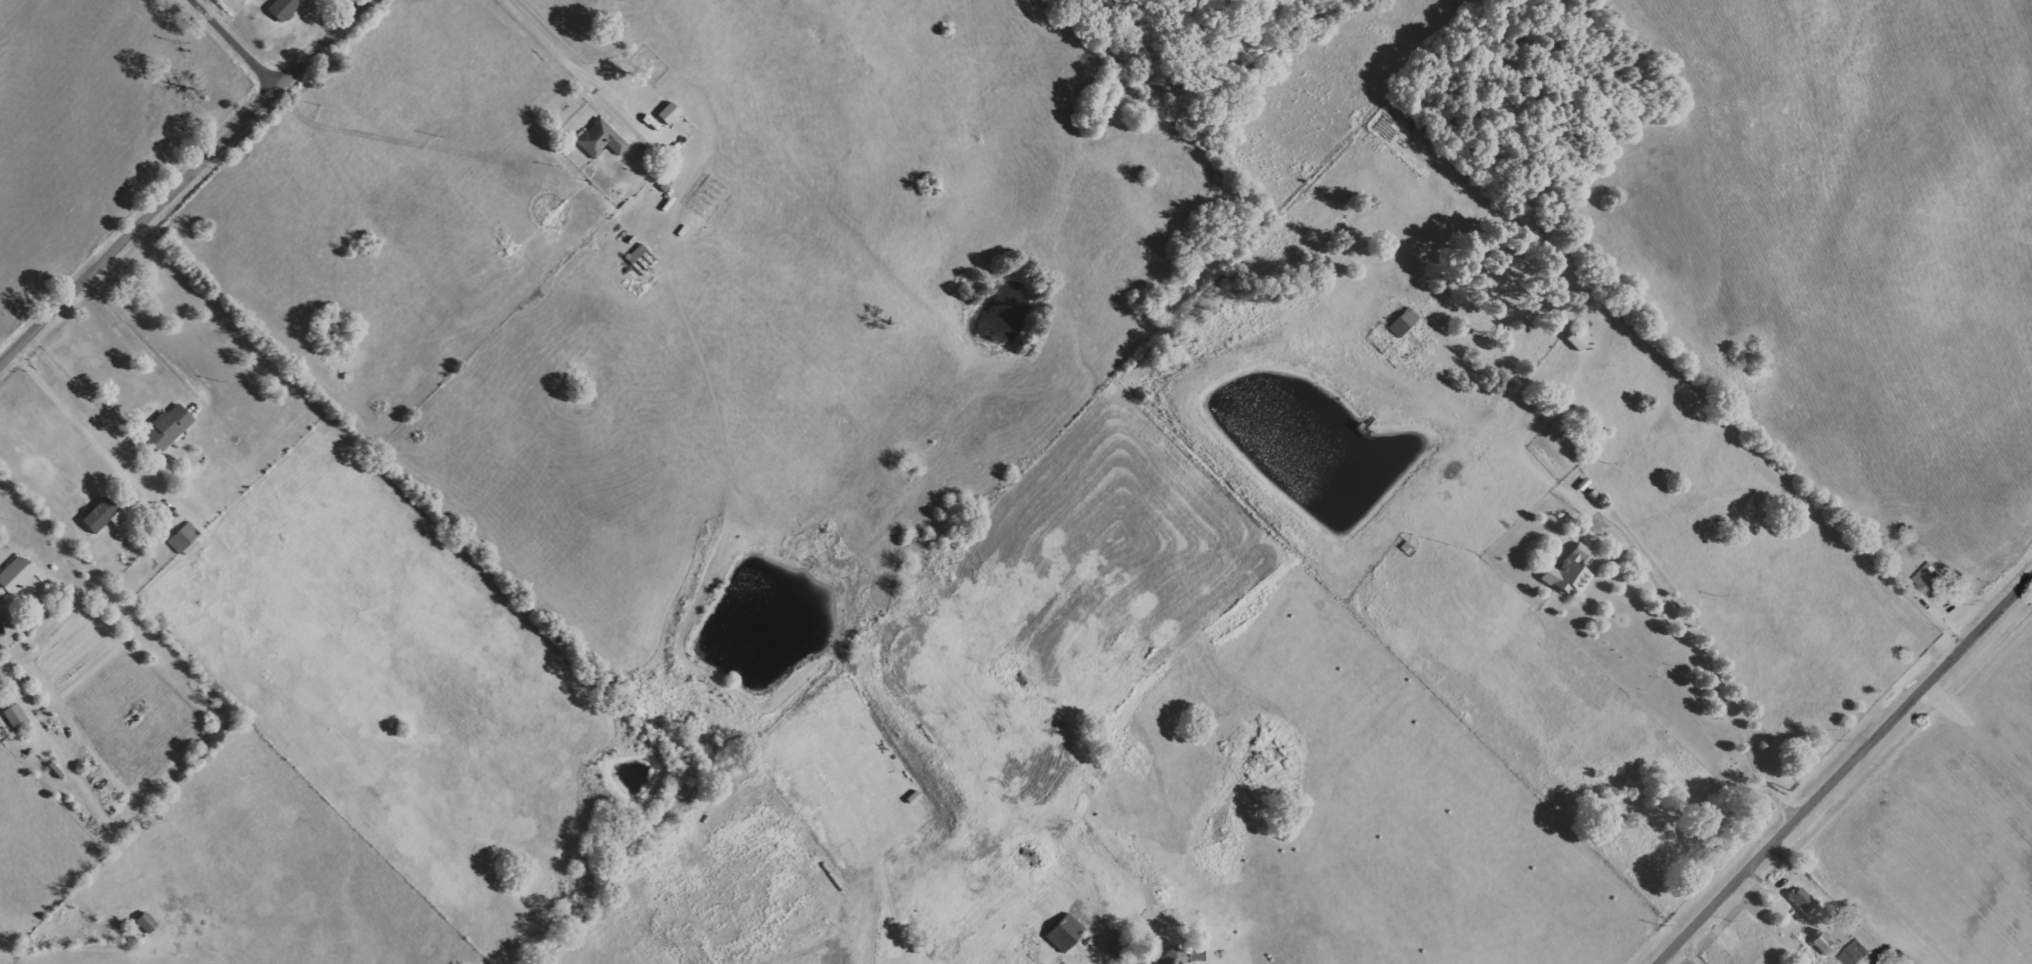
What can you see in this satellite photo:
building: (285, 8)
road: (223, 55)
road: (581, 75)
building: (670, 113)
building: (602, 139)
road: (193, 187)
building: (1405, 322)
road: (143, 338)
building: (1580, 338)
road: (71, 414)
building: (169, 428)
building: (101, 516)
building: (187, 540)
building: (1570, 571)
building: (14, 577)
building: (1932, 579)
building: (10, 627)
road: (1702, 660)
building: (17, 717)
road: (1843, 768)
building: (1805, 901)
building: (1066, 932)
building: (1826, 942)
building: (1856, 953)
building: (1173, 957)

